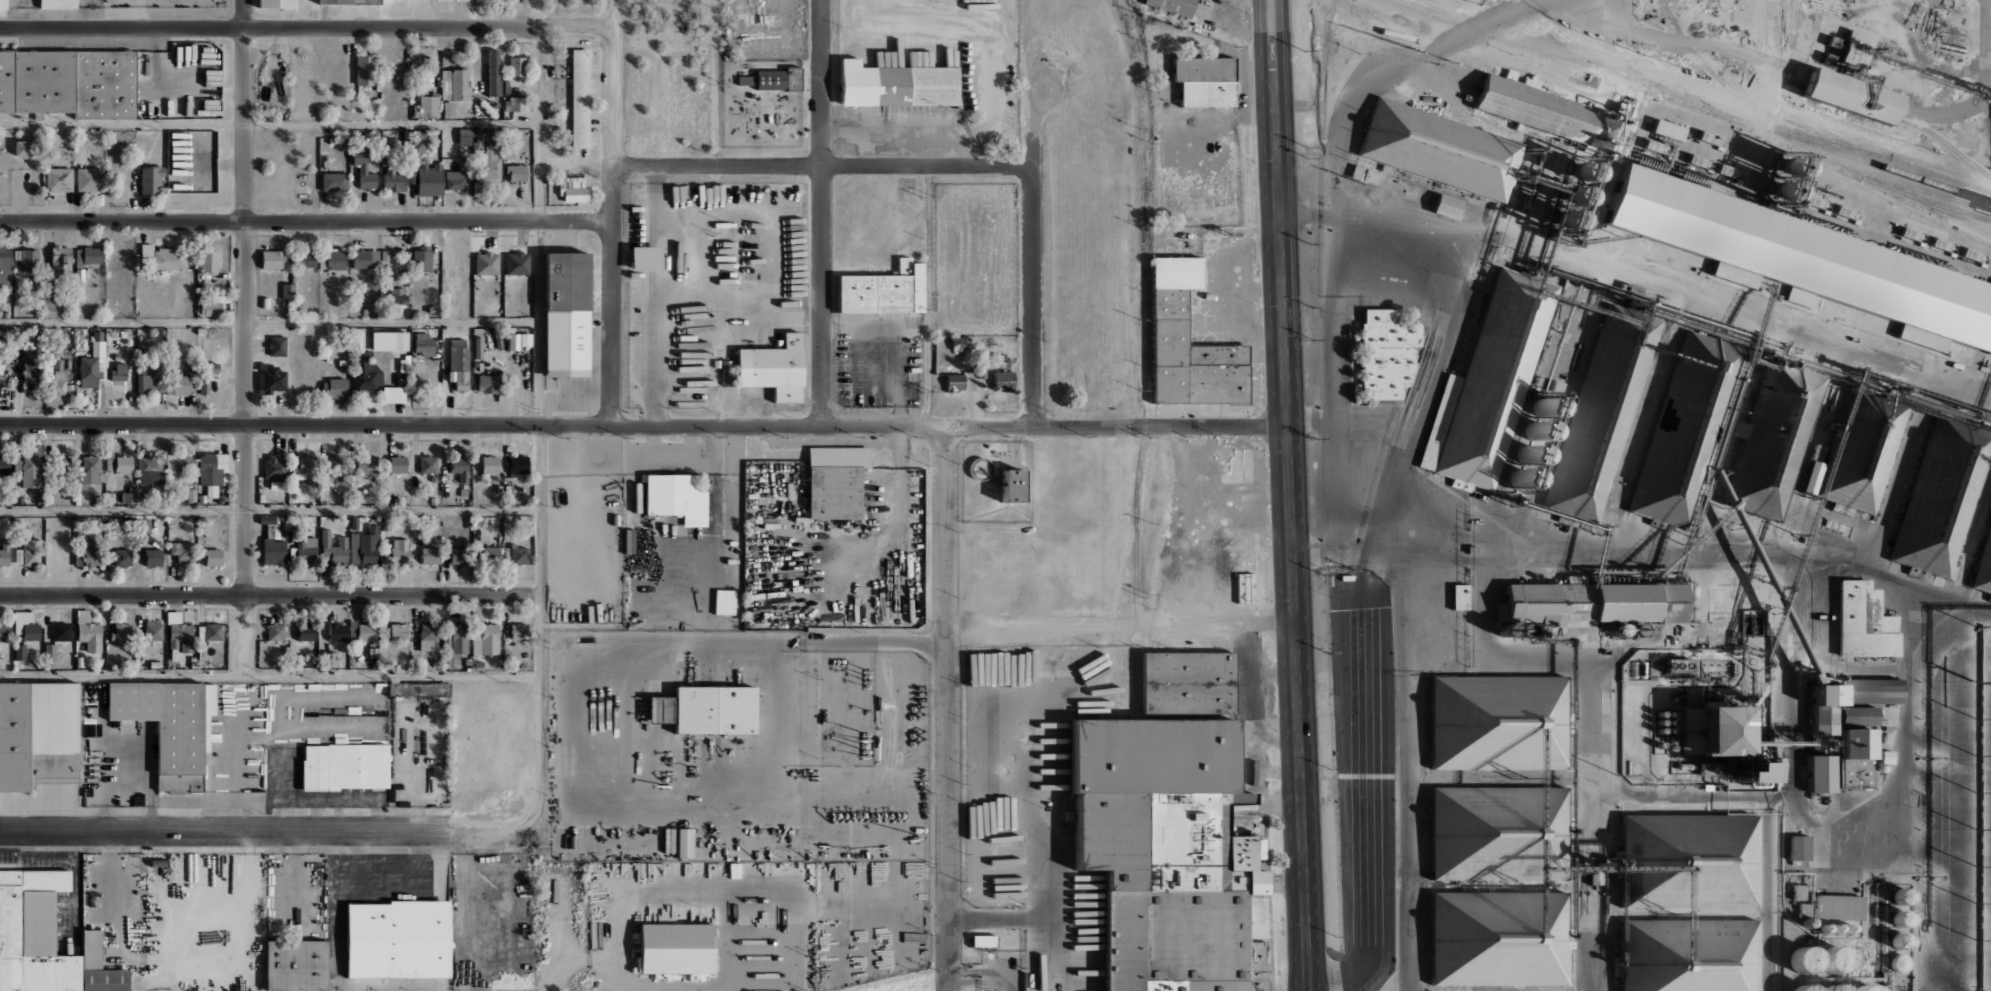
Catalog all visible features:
building: (350, 2)
building: (277, 3)
building: (3, 4)
building: (58, 4)
building: (1173, 6)
road: (307, 25)
building: (1398, 31)
railway: (1602, 62)
building: (516, 66)
building: (366, 69)
railway: (1758, 71)
building: (774, 78)
building: (494, 79)
building: (1200, 81)
road: (1367, 81)
building: (68, 82)
building: (455, 84)
building: (898, 84)
building: (506, 86)
building: (751, 94)
building: (1849, 95)
building: (580, 97)
railway: (1685, 100)
building: (517, 103)
building: (427, 106)
building: (474, 106)
building: (1539, 108)
railway: (1754, 108)
building: (449, 109)
road: (270, 123)
building: (1664, 129)
building: (406, 134)
building: (418, 134)
building: (464, 136)
building: (375, 137)
railway: (1944, 140)
building: (478, 141)
building: (415, 143)
building: (406, 144)
building: (22, 147)
building: (1442, 150)
railway: (1882, 157)
building: (412, 158)
railway: (1849, 163)
road: (822, 164)
building: (487, 165)
building: (364, 170)
building: (516, 173)
building: (1363, 174)
building: (409, 175)
building: (150, 177)
building: (428, 178)
building: (59, 179)
building: (90, 179)
building: (393, 180)
building: (455, 180)
building: (334, 182)
railway: (1881, 184)
building: (572, 189)
railway: (1926, 199)
building: (1442, 205)
road: (613, 212)
road: (822, 212)
road: (306, 220)
railway: (1964, 220)
road: (1033, 222)
building: (147, 249)
building: (208, 258)
building: (420, 258)
building: (29, 259)
building: (61, 259)
building: (365, 259)
building: (86, 260)
building: (166, 260)
building: (307, 260)
building: (333, 260)
building: (272, 261)
building: (1796, 262)
building: (484, 263)
building: (517, 263)
building: (5, 267)
building: (287, 290)
building: (884, 290)
road: (928, 294)
road: (657, 295)
building: (398, 296)
building: (264, 301)
building: (48, 302)
building: (144, 305)
building: (432, 308)
building: (209, 309)
building: (405, 311)
building: (567, 314)
building: (1166, 317)
road: (269, 321)
building: (200, 330)
building: (497, 332)
road: (243, 338)
building: (525, 339)
building: (389, 340)
building: (512, 340)
building: (960, 342)
building: (97, 343)
building: (423, 343)
building: (498, 343)
building: (277, 347)
building: (478, 347)
building: (1383, 353)
railway: (1145, 354)
parking lot: (879, 358)
building: (343, 361)
building: (459, 362)
building: (57, 364)
building: (36, 366)
building: (118, 368)
building: (774, 368)
building: (88, 372)
building: (726, 372)
building: (366, 373)
building: (207, 375)
building: (1494, 375)
road: (1434, 376)
road: (1330, 377)
building: (272, 378)
building: (1003, 380)
building: (489, 382)
building: (955, 382)
building: (57, 384)
building: (144, 384)
building: (180, 384)
building: (337, 387)
building: (393, 394)
building: (1599, 412)
road: (1353, 419)
road: (642, 425)
building: (1680, 427)
building: (1778, 440)
building: (1857, 454)
building: (340, 458)
building: (109, 460)
building: (180, 462)
building: (149, 463)
building: (365, 463)
building: (398, 463)
building: (123, 464)
building: (427, 464)
road: (538, 464)
building: (16, 465)
building: (488, 465)
building: (516, 465)
building: (1, 467)
building: (460, 467)
building: (274, 468)
building: (305, 468)
building: (31, 471)
building: (212, 471)
building: (89, 473)
building: (835, 481)
building: (1014, 485)
building: (520, 489)
building: (169, 494)
building: (195, 494)
road: (1289, 495)
building: (127, 496)
building: (109, 497)
building: (283, 497)
building: (676, 497)
building: (48, 498)
building: (19, 499)
building: (222, 499)
building: (433, 500)
building: (1940, 500)
building: (396, 501)
building: (468, 502)
road: (269, 509)
building: (267, 519)
building: (478, 521)
building: (354, 522)
building: (416, 522)
building: (386, 524)
building: (144, 525)
building: (202, 527)
building: (369, 546)
building: (334, 548)
building: (354, 548)
building: (1471, 548)
building: (273, 549)
building: (399, 549)
building: (306, 550)
building: (4, 551)
building: (183, 551)
building: (31, 553)
building: (489, 553)
building: (86, 554)
building: (518, 554)
building: (431, 556)
building: (458, 556)
building: (121, 557)
building: (212, 557)
building: (152, 558)
building: (1984, 566)
building: (1344, 576)
road: (269, 593)
building: (1457, 596)
building: (1586, 605)
building: (1863, 621)
road: (1120, 623)
building: (3, 631)
building: (31, 631)
building: (62, 631)
building: (154, 631)
building: (180, 631)
building: (275, 631)
building: (213, 632)
building: (305, 632)
building: (336, 632)
building: (367, 632)
building: (398, 632)
building: (428, 632)
building: (519, 632)
building: (121, 633)
building: (90, 635)
building: (486, 640)
road: (812, 640)
building: (458, 641)
building: (20, 651)
building: (202, 651)
building: (374, 651)
building: (445, 651)
building: (49, 652)
building: (192, 658)
building: (329, 659)
building: (79, 661)
building: (478, 663)
building: (155, 664)
building: (193, 664)
building: (375, 665)
building: (1676, 665)
building: (522, 666)
road: (269, 676)
building: (1189, 681)
building: (418, 689)
building: (1870, 690)
building: (1826, 694)
road: (947, 707)
building: (706, 709)
building: (1858, 715)
building: (1496, 719)
building: (1822, 719)
building: (1666, 722)
building: (170, 725)
building: (1710, 730)
building: (38, 734)
building: (1886, 738)
building: (1851, 743)
building: (1883, 756)
building: (1775, 765)
building: (344, 766)
building: (1703, 767)
building: (1727, 771)
building: (1746, 773)
building: (1816, 773)
building: (1854, 774)
road: (982, 809)
road: (223, 831)
road: (1038, 831)
building: (1499, 833)
building: (684, 842)
building: (1798, 847)
building: (1171, 852)
building: (1687, 861)
building: (158, 863)
road: (622, 890)
building: (1798, 891)
road: (874, 898)
building: (1837, 906)
road: (335, 911)
building: (33, 932)
road: (551, 937)
building: (398, 939)
building: (983, 940)
building: (1498, 941)
road: (1051, 943)
building: (677, 948)
building: (1686, 956)
road: (581, 957)
building: (1804, 959)
building: (1834, 959)
building: (298, 964)
building: (100, 966)
road: (977, 969)
road: (975, 979)
road: (1007, 985)
building: (1865, 987)
road: (798, 988)
building: (1803, 988)
road: (661, 989)
building: (1839, 989)
road: (964, 990)

